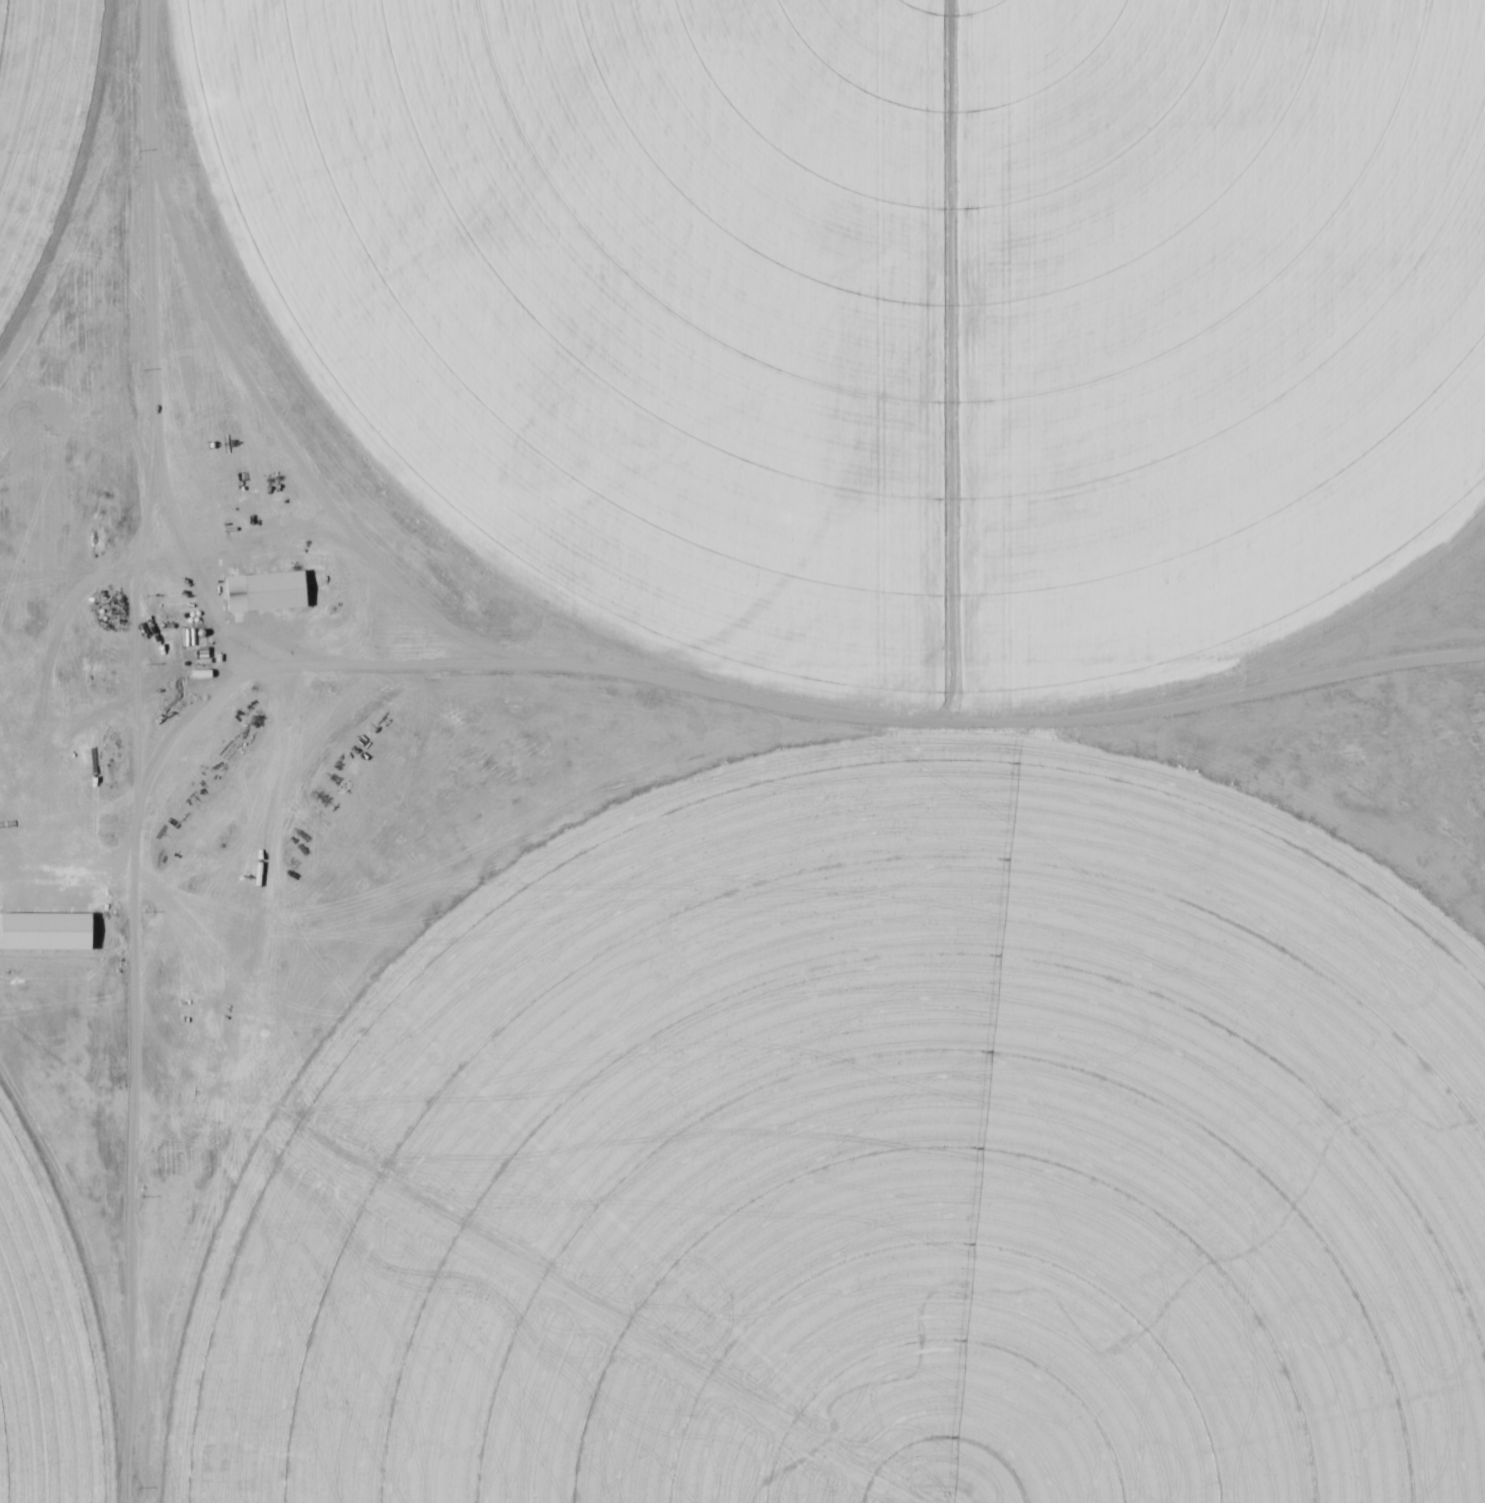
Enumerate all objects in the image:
crop: (44, 132)
crop: (884, 309)
road: (808, 718)
road: (130, 750)
crop: (879, 1176)
crop: (45, 1356)

